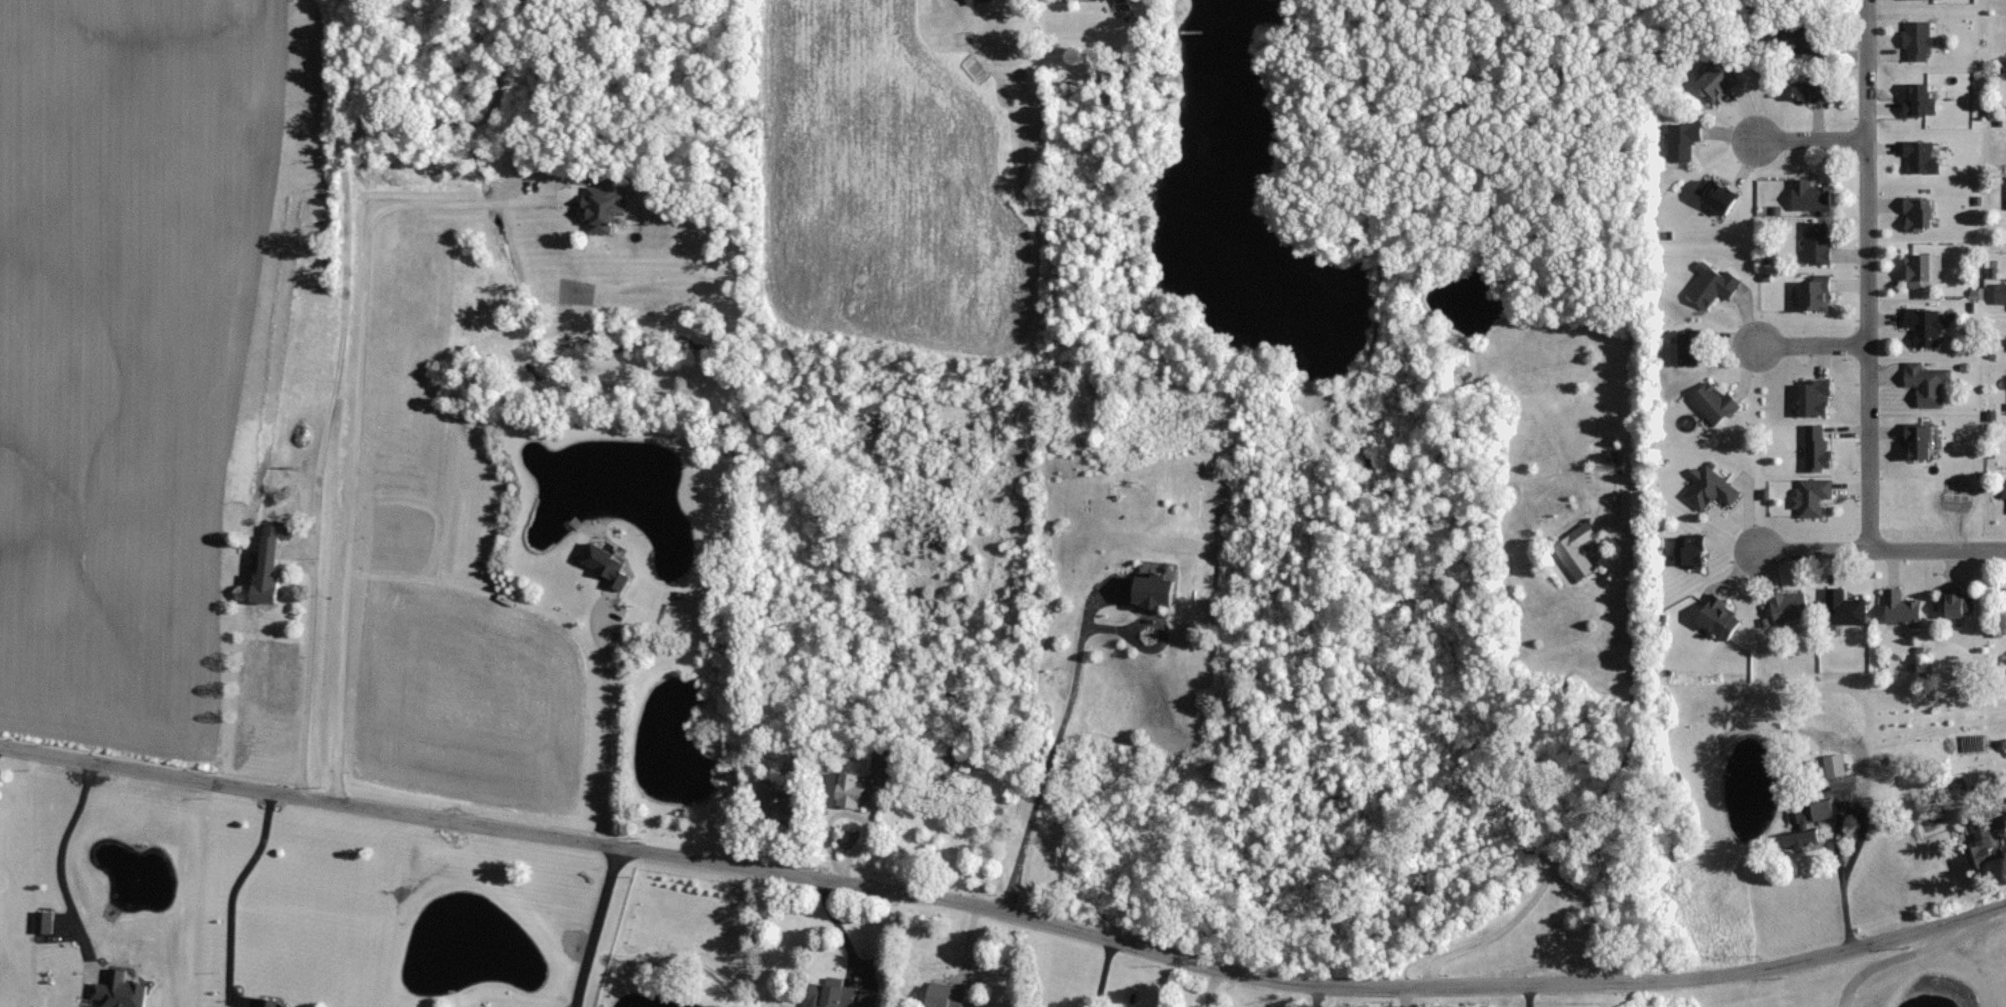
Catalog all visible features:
building: (1915, 38)
building: (1797, 89)
building: (1913, 98)
road: (1810, 140)
building: (1918, 157)
building: (2005, 192)
building: (1807, 193)
building: (1915, 212)
building: (1812, 241)
building: (1915, 270)
road: (1866, 276)
building: (1714, 287)
building: (1811, 291)
building: (1998, 291)
building: (1922, 325)
road: (1811, 347)
building: (1924, 383)
building: (1813, 397)
building: (1711, 403)
road: (357, 413)
building: (1915, 442)
building: (1814, 447)
building: (2002, 487)
building: (1708, 489)
building: (1807, 496)
building: (1683, 551)
road: (1881, 551)
building: (1573, 552)
building: (272, 578)
building: (2005, 598)
building: (1949, 601)
building: (1843, 604)
building: (1786, 605)
building: (1897, 608)
building: (1712, 615)
road: (307, 669)
road: (605, 727)
road: (1051, 759)
building: (882, 766)
building: (844, 789)
road: (1605, 791)
road: (1836, 833)
building: (1974, 841)
road: (60, 861)
road: (232, 891)
road: (1005, 913)
road: (598, 927)
road: (1894, 955)
road: (1101, 974)
park: (1919, 980)
road: (1210, 987)
building: (125, 991)
building: (839, 995)
building: (932, 996)
road: (1315, 996)
road: (1528, 996)
building: (271, 1001)

